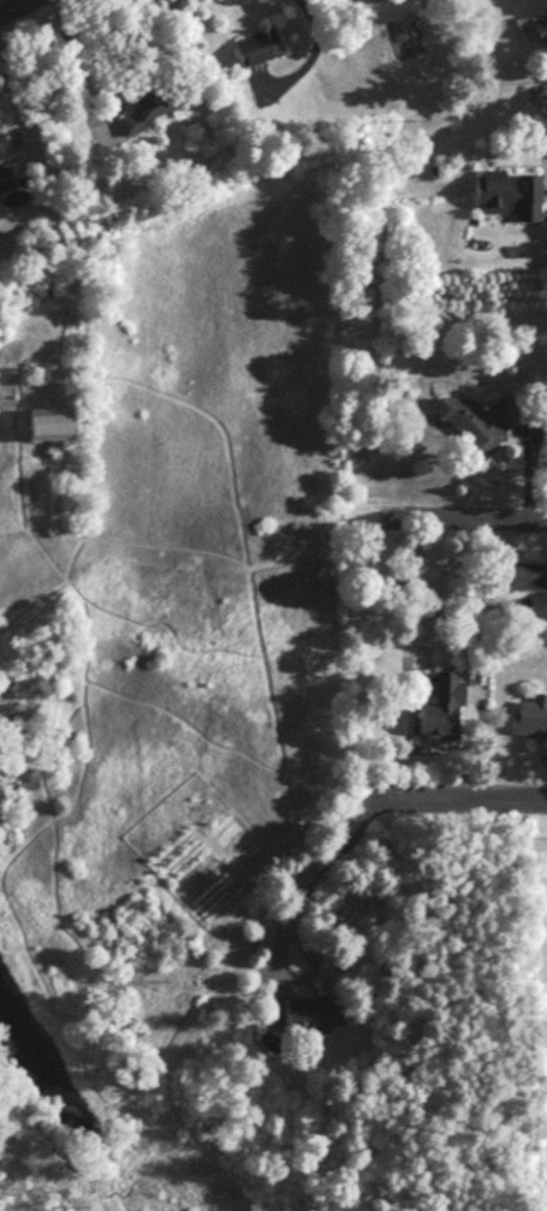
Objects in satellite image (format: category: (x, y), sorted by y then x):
road: (23, 10)
building: (542, 36)
building: (256, 43)
road: (19, 101)
building: (138, 112)
building: (6, 167)
building: (509, 201)
building: (482, 427)
building: (47, 428)
road: (471, 520)
building: (522, 584)
building: (442, 714)
building: (531, 725)
road: (463, 806)
road: (314, 874)
building: (309, 1022)

